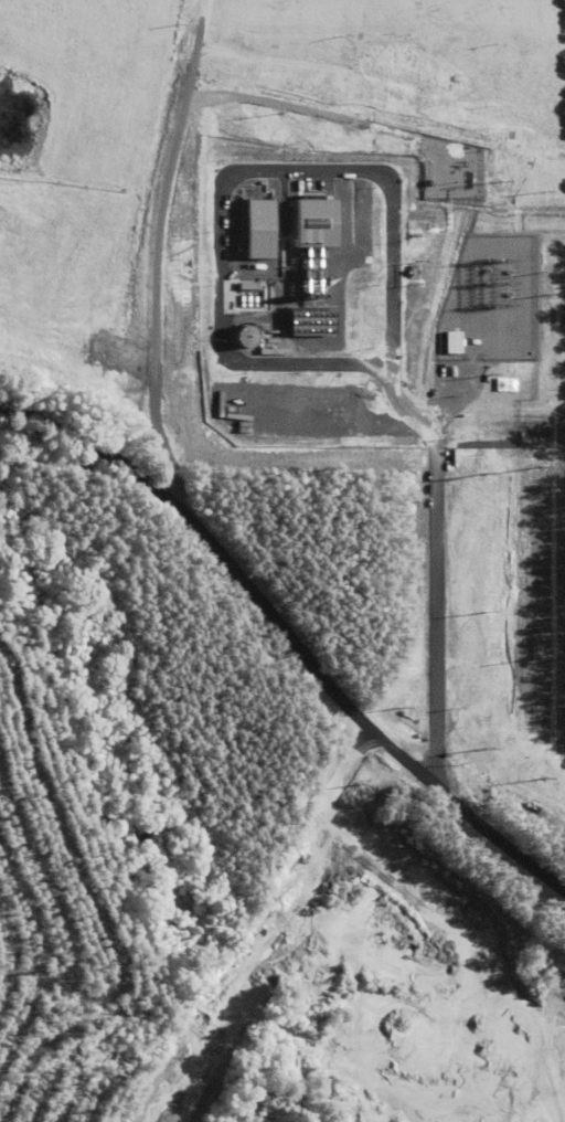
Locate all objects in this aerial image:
road: (159, 258)
power substation: (497, 314)
road: (436, 595)
road: (286, 636)

